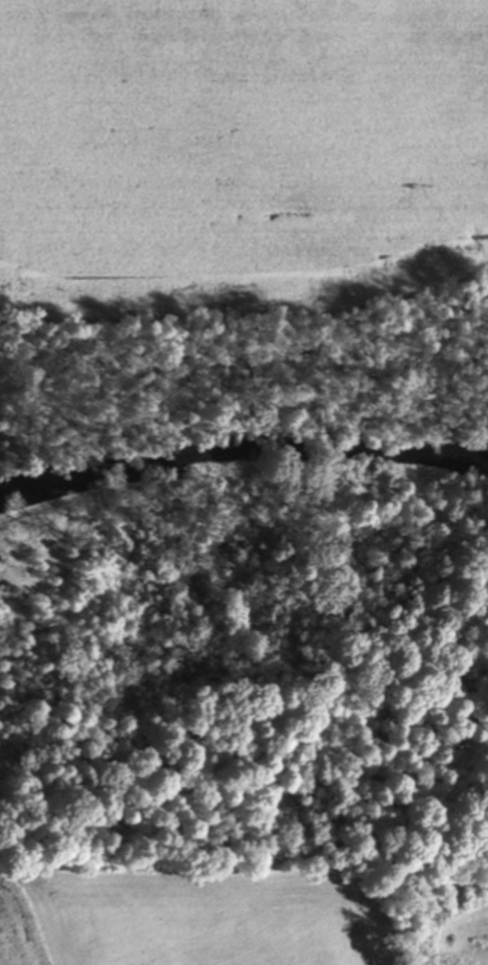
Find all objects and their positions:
river: (244, 454)

